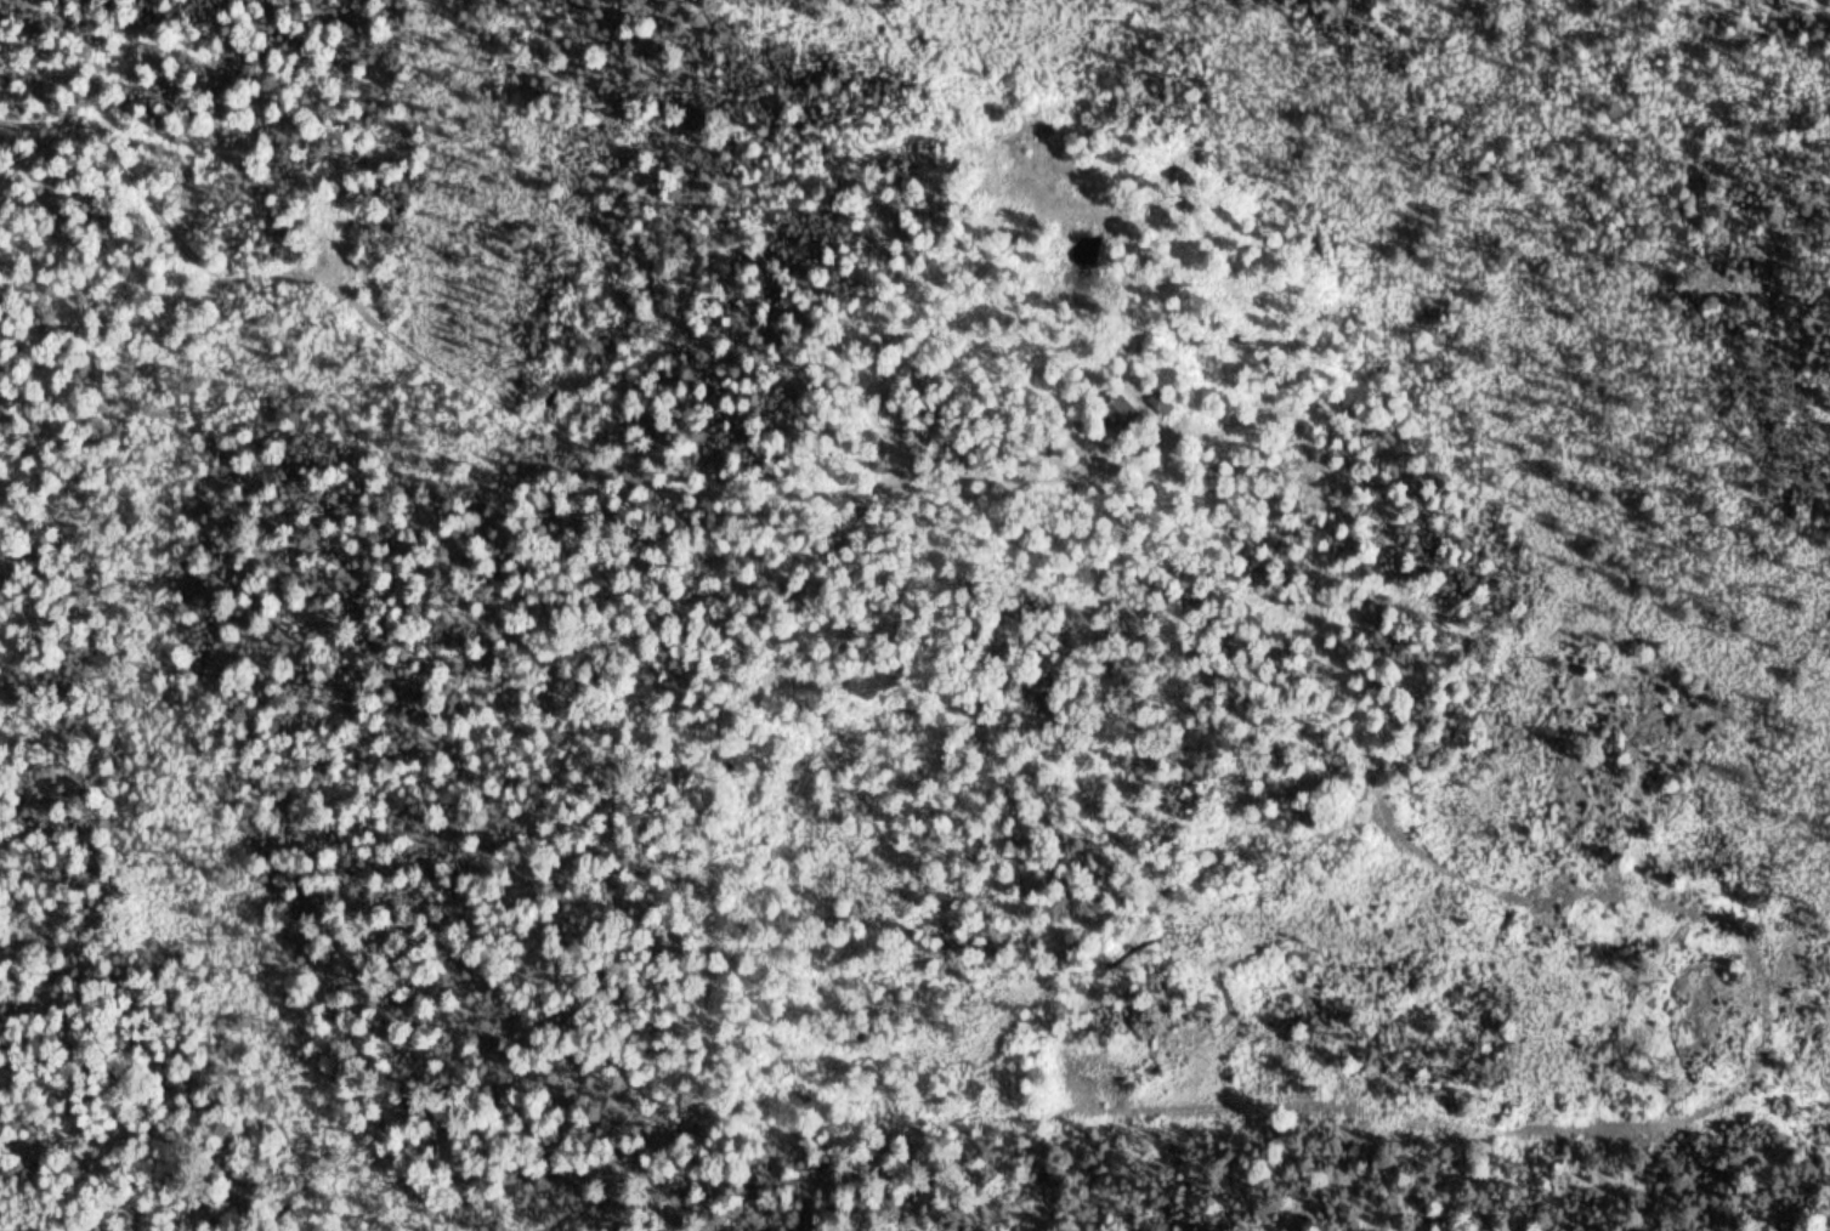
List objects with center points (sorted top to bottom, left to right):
road: (247, 273)

